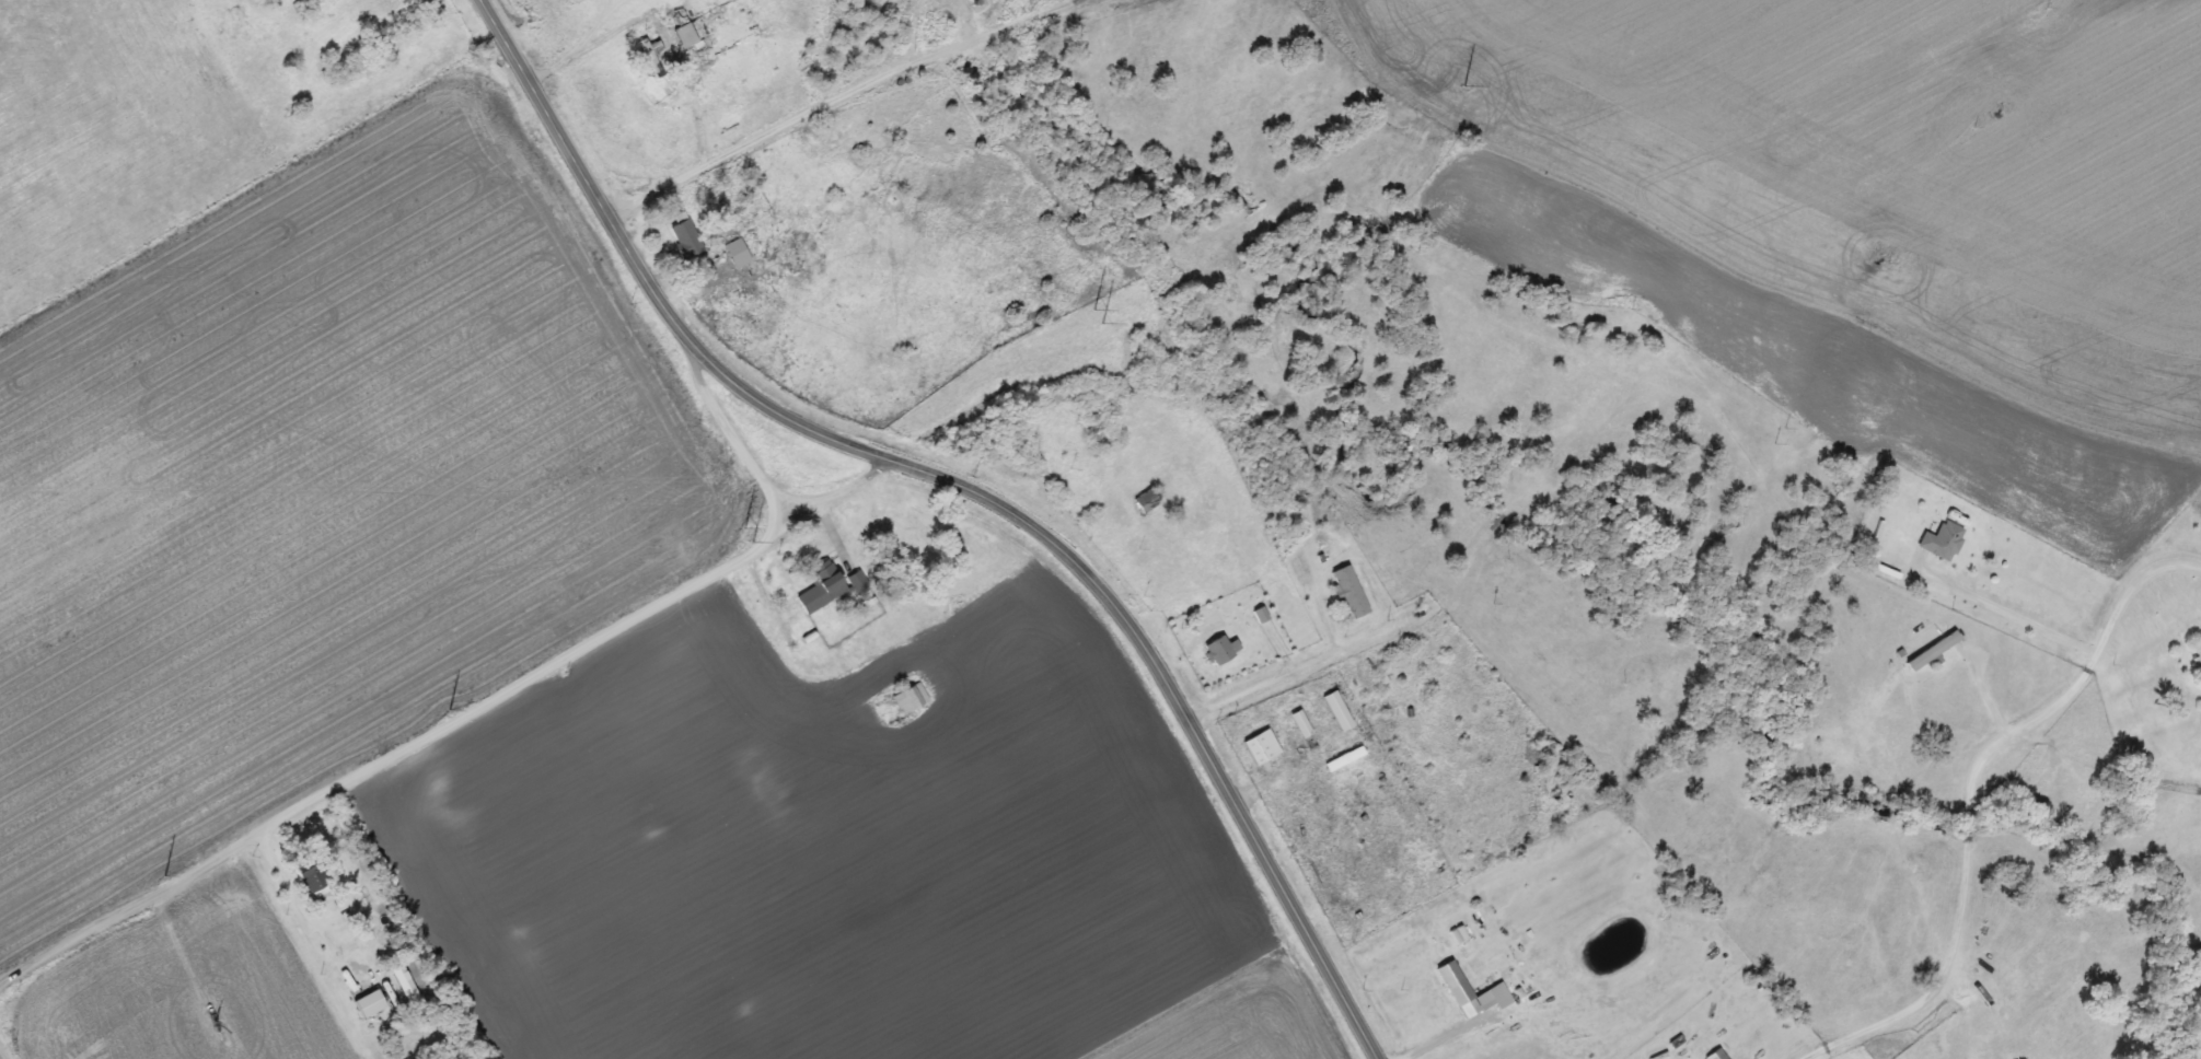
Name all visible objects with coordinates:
building: (341, 1)
building: (687, 36)
building: (651, 58)
road: (816, 100)
building: (687, 237)
building: (718, 249)
road: (713, 412)
road: (974, 480)
road: (823, 491)
road: (790, 493)
building: (1145, 502)
road: (767, 512)
building: (1939, 542)
building: (830, 586)
building: (1345, 593)
building: (1218, 650)
building: (1928, 651)
building: (2196, 663)
road: (1281, 670)
road: (1981, 675)
building: (906, 700)
building: (1334, 711)
building: (1298, 724)
building: (1259, 748)
road: (380, 756)
road: (1968, 792)
building: (1299, 842)
building: (313, 876)
building: (1451, 984)
building: (371, 1003)
building: (1711, 1054)
road: (2, 1055)

